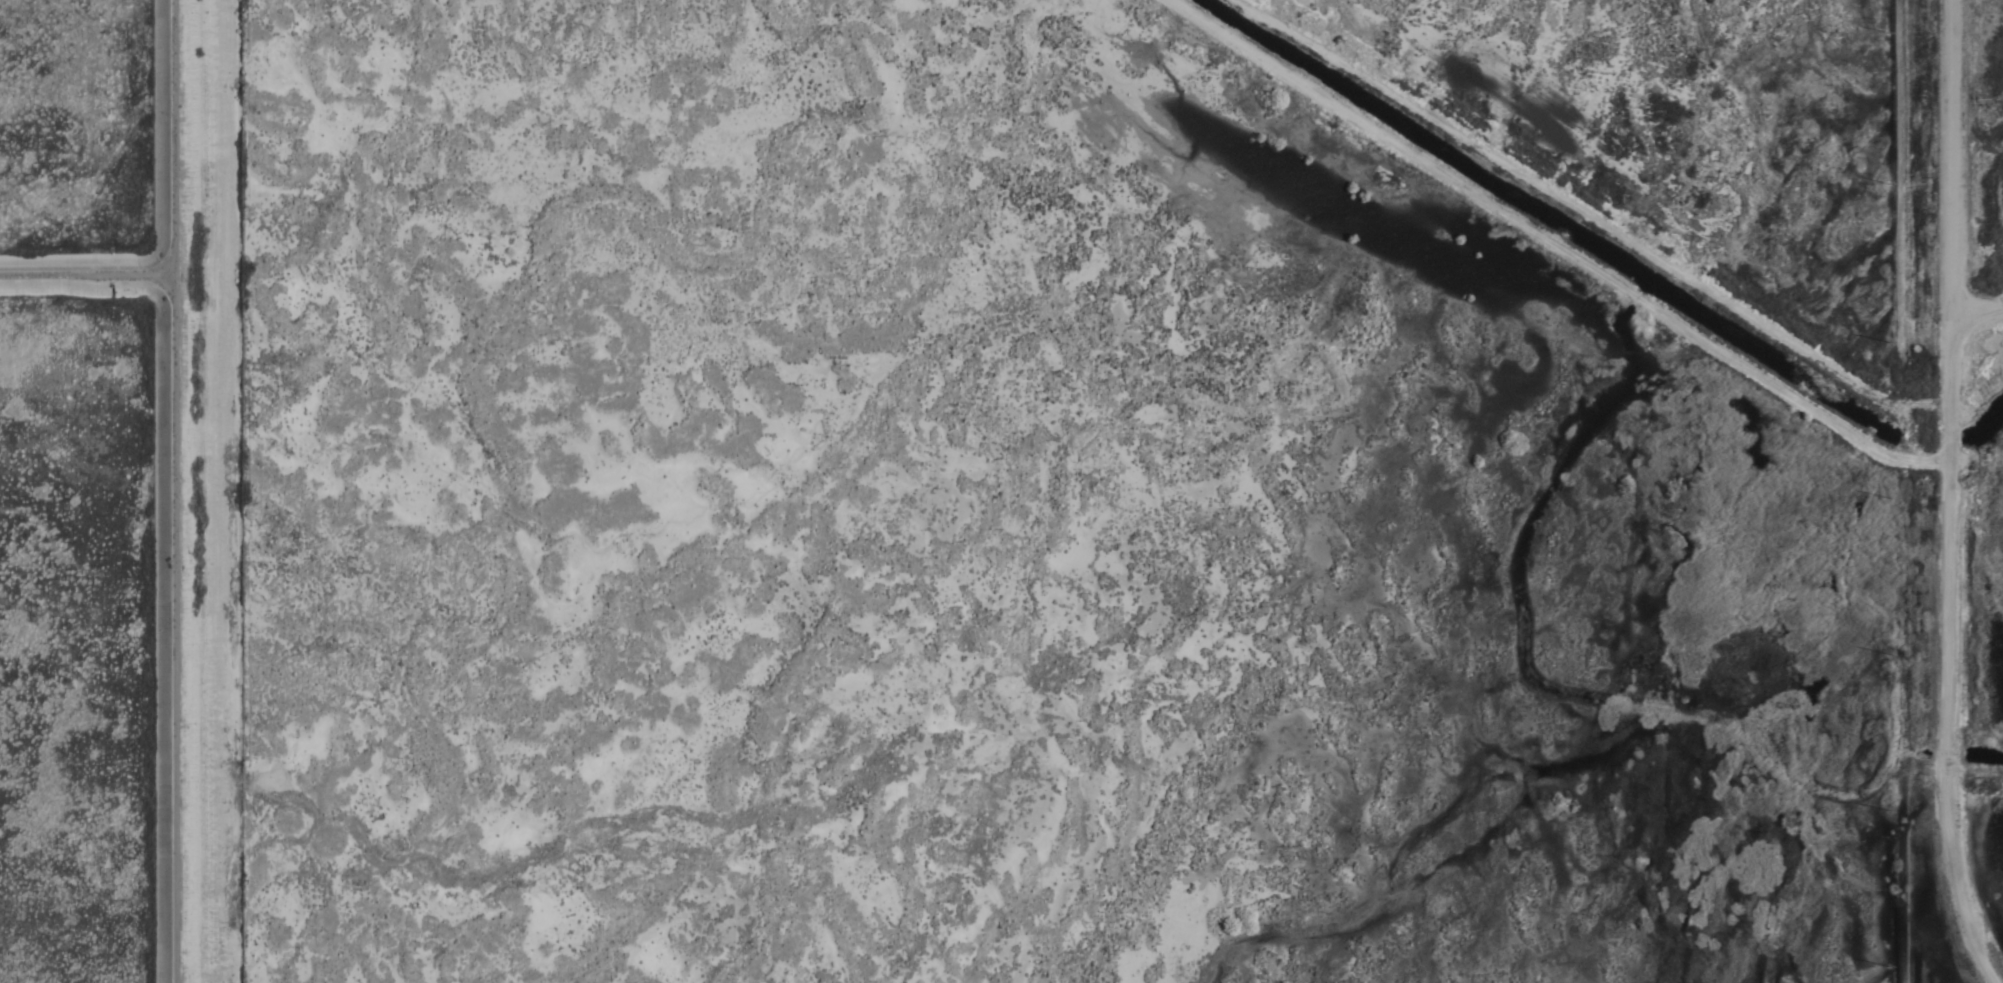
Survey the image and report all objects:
road: (1900, 133)
road: (1977, 312)
road: (1949, 434)
road: (1967, 927)

